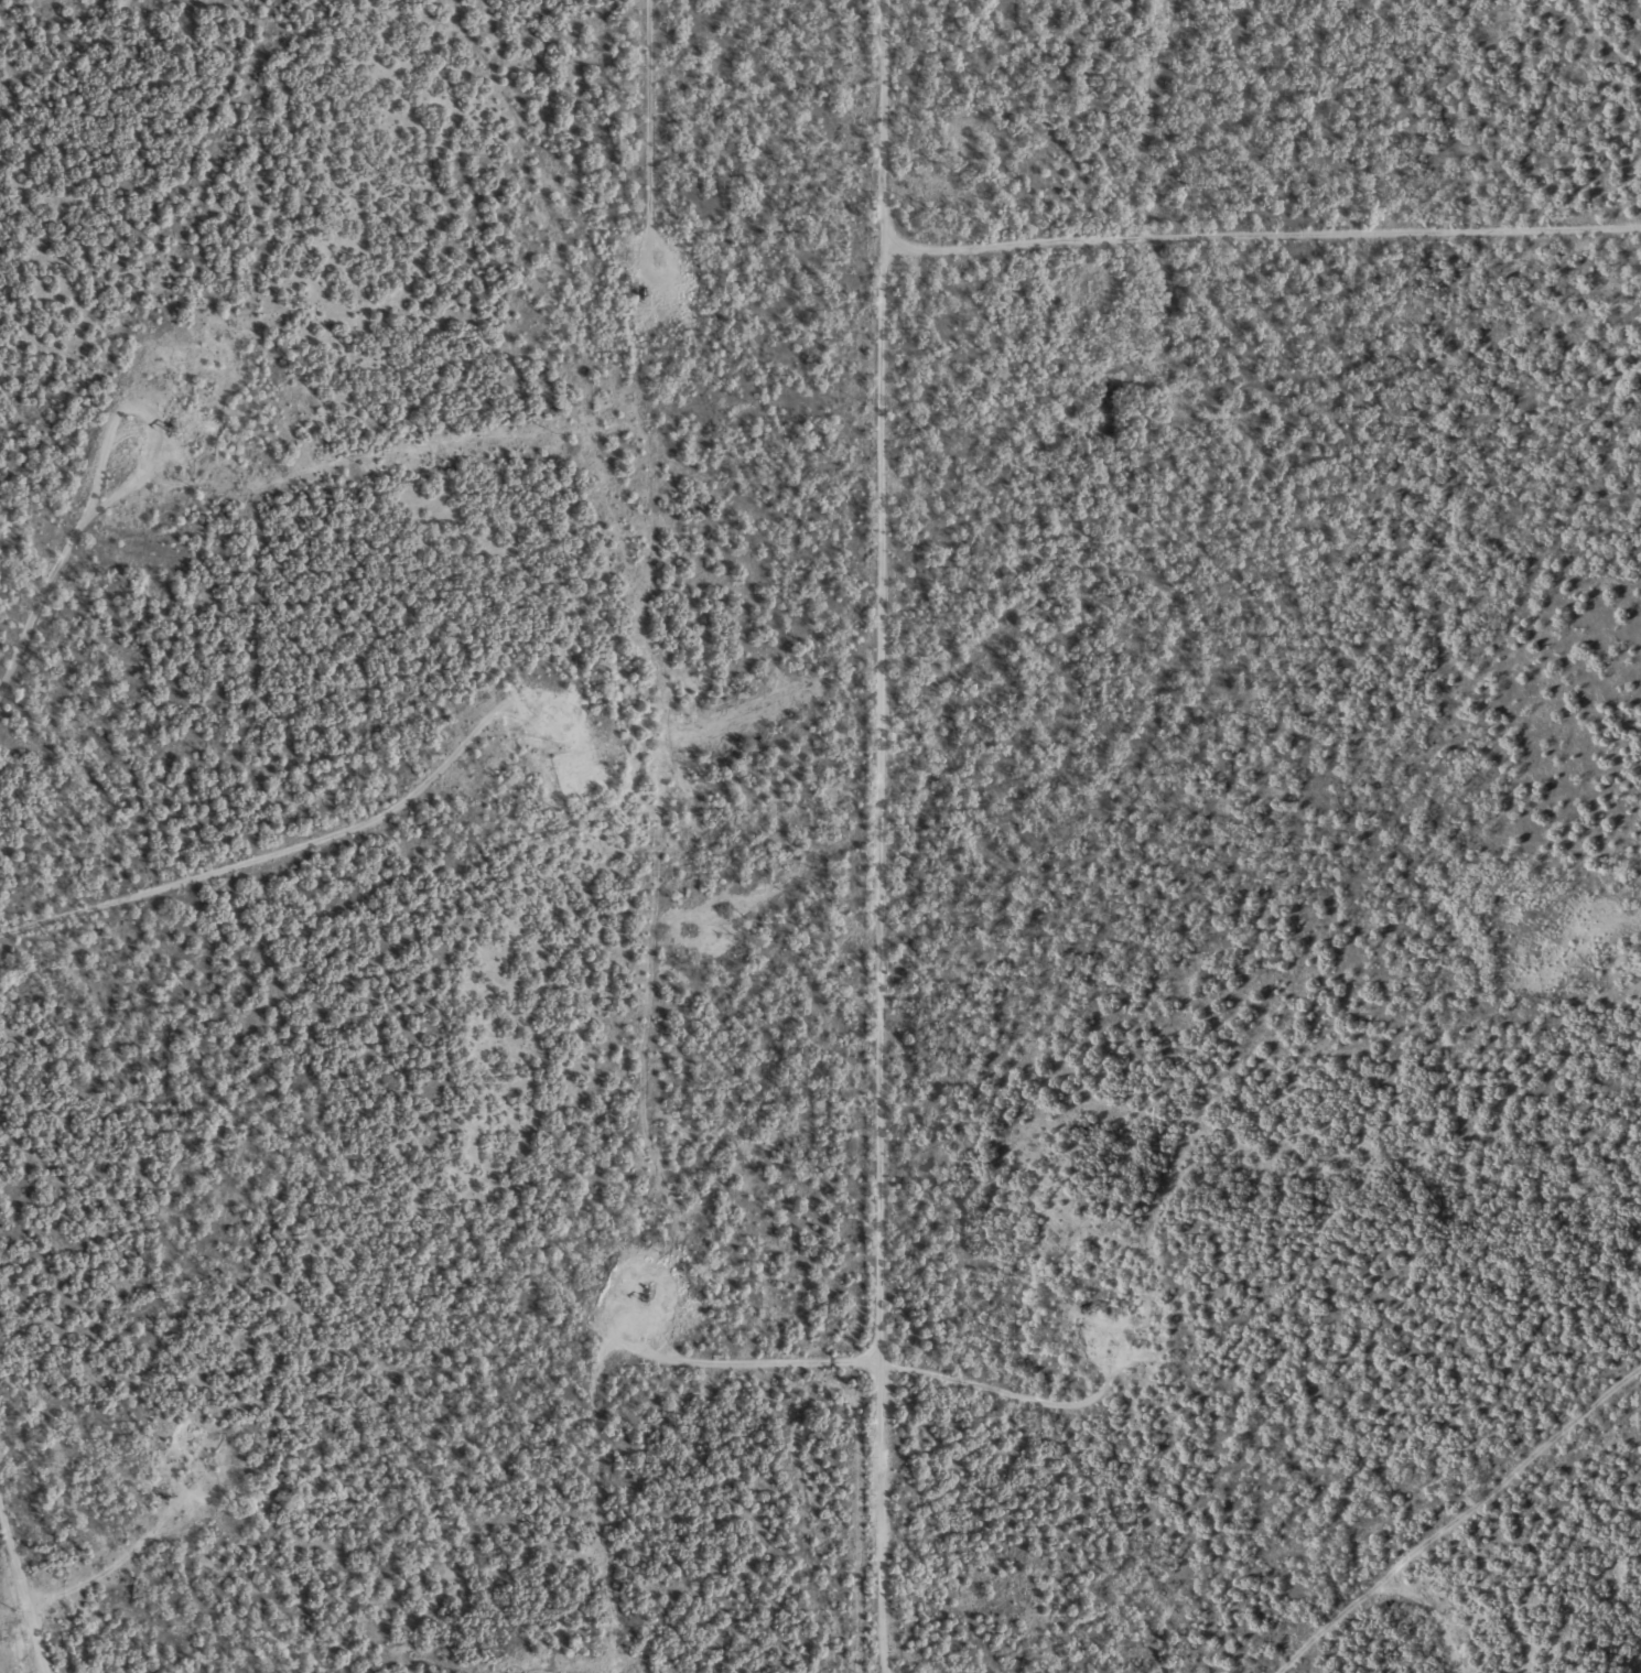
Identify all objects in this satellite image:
petroleum well: (170, 424)
petroleum well: (551, 746)
petroleum well: (1526, 932)
petroleum well: (163, 1494)

